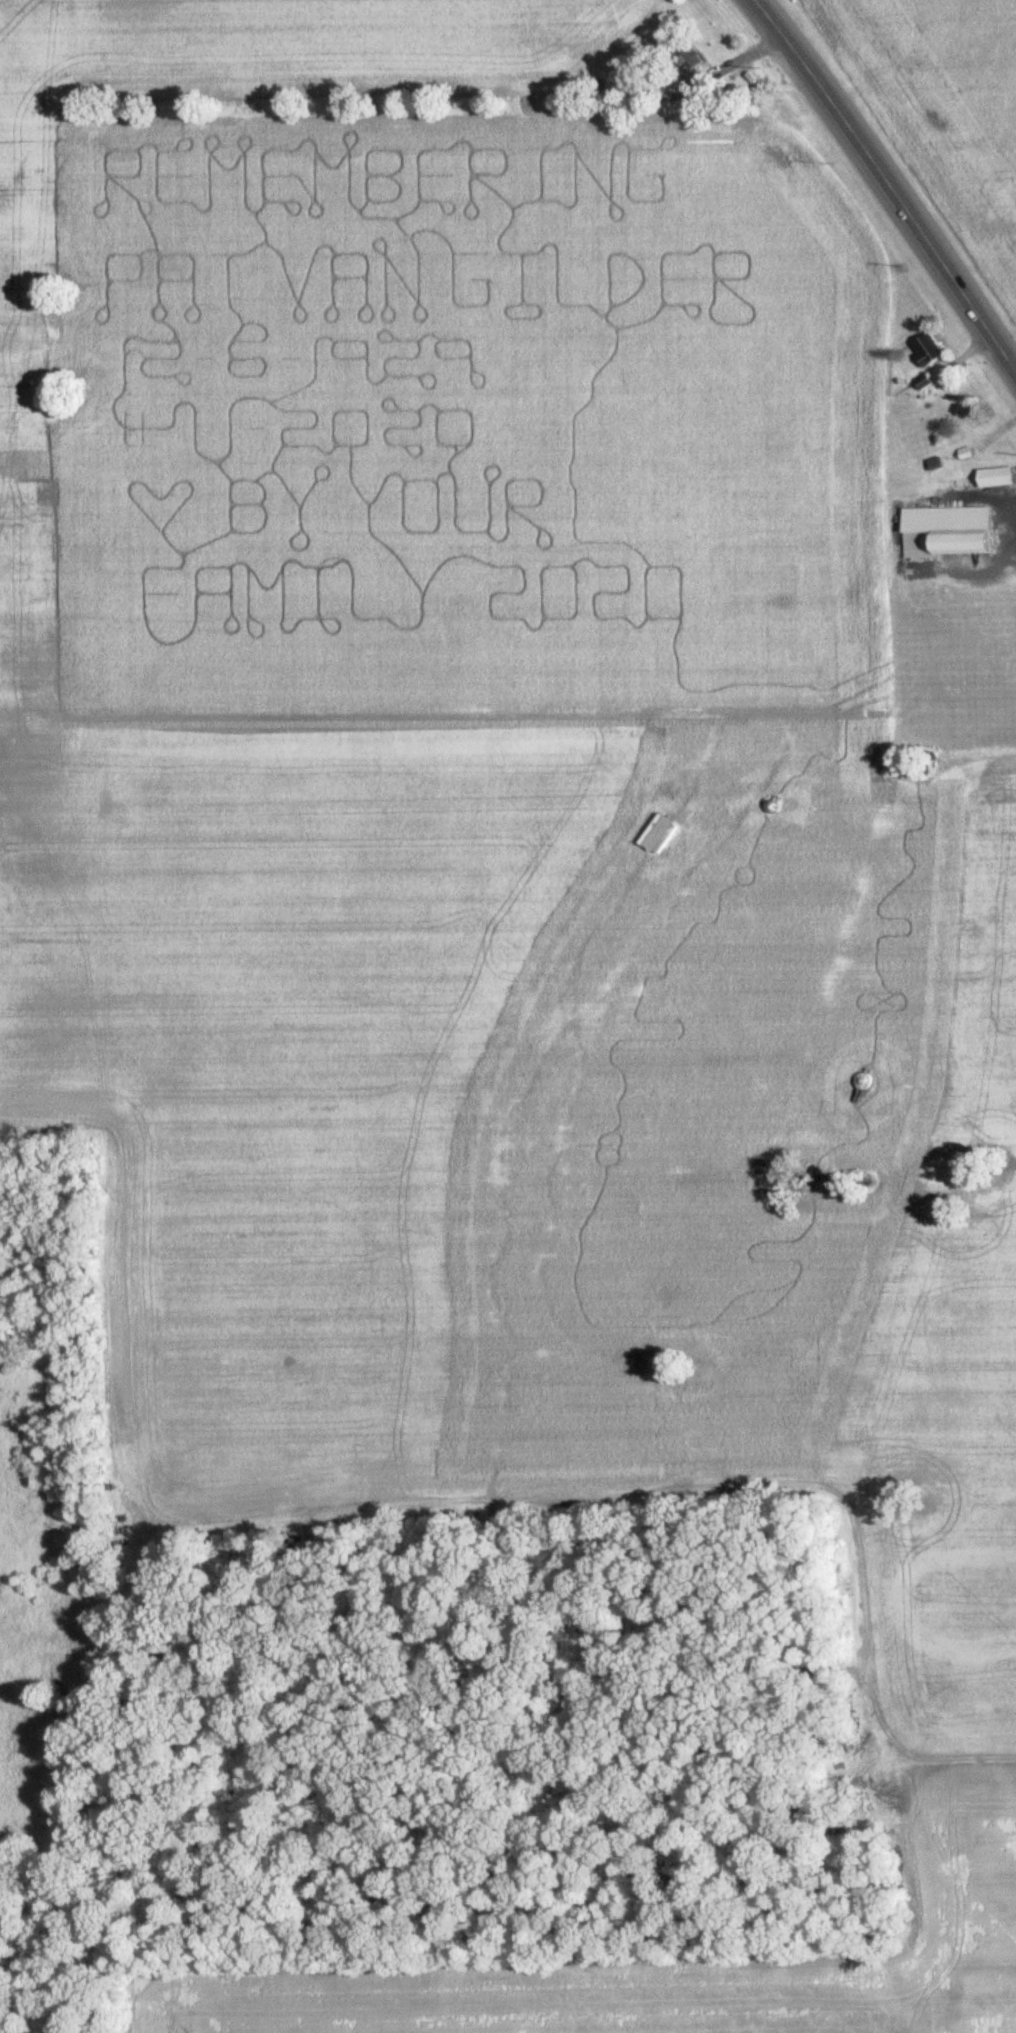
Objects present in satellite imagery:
building: (688, 61)
road: (886, 185)
building: (926, 349)
building: (995, 477)
building: (946, 531)

